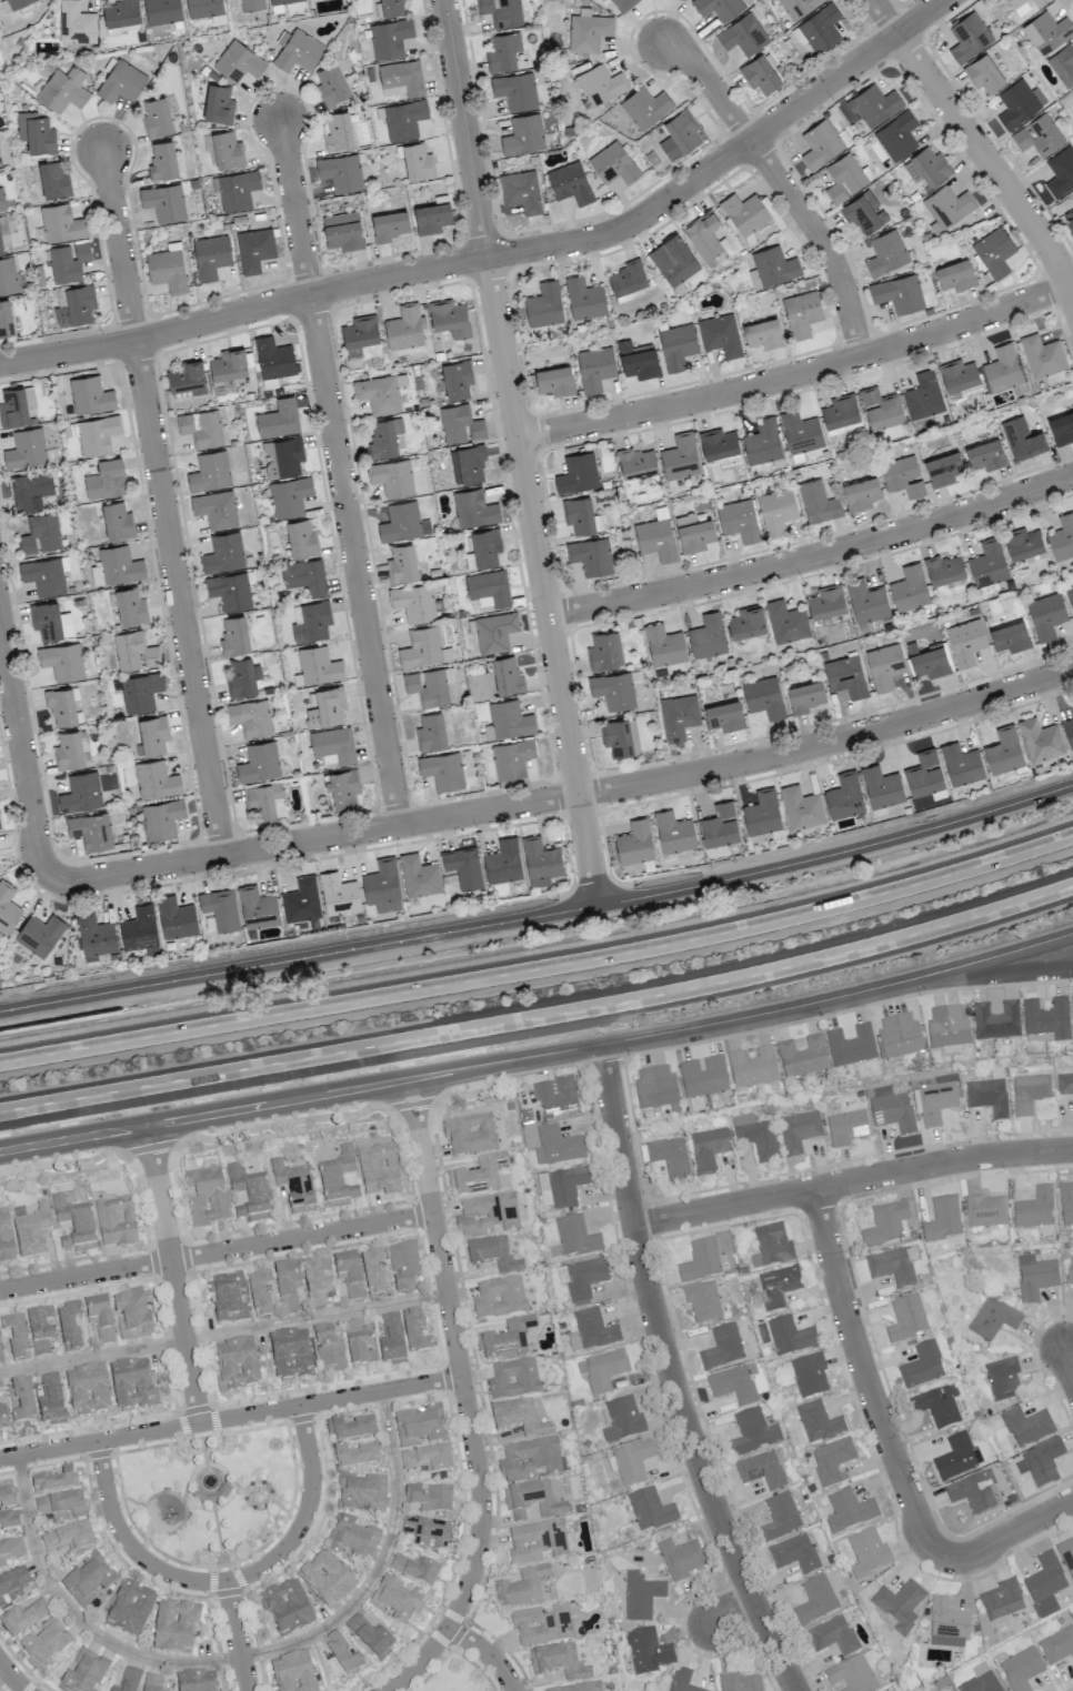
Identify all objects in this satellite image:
building: (283, 1)
building: (1039, 2)
building: (17, 3)
building: (1014, 3)
building: (251, 4)
building: (623, 4)
building: (798, 7)
building: (203, 8)
building: (392, 8)
building: (718, 8)
building: (161, 11)
building: (501, 12)
building: (120, 16)
building: (76, 23)
building: (821, 29)
building: (588, 32)
building: (1046, 32)
building: (742, 34)
building: (969, 37)
building: (390, 38)
building: (297, 51)
building: (503, 51)
building: (239, 62)
building: (1063, 64)
building: (760, 74)
building: (984, 74)
building: (401, 77)
building: (120, 81)
building: (331, 84)
building: (600, 84)
building: (63, 90)
building: (515, 90)
building: (1019, 103)
building: (218, 104)
building: (874, 104)
building: (645, 107)
building: (157, 118)
building: (403, 120)
building: (338, 131)
building: (34, 132)
building: (523, 134)
building: (679, 134)
building: (896, 135)
building: (1039, 135)
building: (820, 144)
road: (979, 147)
building: (224, 149)
building: (162, 160)
building: (415, 161)
building: (613, 163)
building: (926, 167)
building: (340, 172)
building: (1061, 172)
building: (845, 178)
building: (52, 180)
building: (570, 183)
road: (783, 187)
building: (237, 190)
building: (521, 191)
building: (1, 200)
building: (163, 202)
building: (947, 205)
building: (863, 212)
building: (744, 213)
building: (431, 218)
building: (59, 224)
building: (1070, 224)
building: (390, 225)
building: (342, 231)
building: (704, 236)
building: (0, 248)
building: (254, 249)
building: (993, 252)
building: (885, 253)
road: (503, 254)
building: (210, 256)
building: (673, 260)
building: (68, 261)
building: (774, 266)
building: (167, 270)
building: (955, 275)
building: (7, 276)
building: (626, 278)
building: (897, 293)
building: (584, 299)
building: (544, 304)
building: (74, 305)
building: (802, 313)
building: (4, 318)
building: (449, 318)
building: (404, 328)
building: (360, 331)
building: (763, 333)
building: (720, 335)
building: (676, 346)
building: (1042, 355)
building: (273, 358)
building: (638, 360)
building: (228, 364)
building: (594, 368)
building: (1003, 370)
road: (799, 374)
building: (187, 378)
building: (959, 378)
building: (457, 379)
building: (554, 381)
building: (380, 393)
building: (90, 395)
building: (923, 395)
building: (16, 405)
building: (881, 409)
building: (841, 414)
building: (278, 420)
building: (460, 424)
building: (201, 427)
building: (1062, 427)
building: (800, 432)
building: (97, 434)
building: (384, 437)
building: (1022, 439)
building: (762, 442)
building: (718, 443)
building: (26, 449)
road: (520, 453)
building: (985, 454)
building: (282, 456)
building: (680, 457)
building: (636, 463)
building: (470, 464)
building: (943, 469)
building: (210, 471)
road: (340, 473)
building: (576, 473)
building: (393, 476)
building: (903, 476)
building: (106, 479)
building: (30, 490)
building: (861, 493)
building: (290, 496)
building: (818, 502)
road: (162, 503)
building: (215, 509)
building: (474, 509)
building: (776, 511)
building: (581, 515)
building: (117, 521)
building: (739, 521)
building: (402, 522)
building: (693, 533)
building: (40, 534)
building: (1062, 537)
building: (655, 538)
building: (301, 540)
building: (1023, 544)
building: (483, 548)
building: (223, 553)
building: (591, 555)
road: (813, 556)
building: (401, 563)
building: (987, 564)
building: (120, 565)
building: (944, 568)
building: (96, 574)
building: (44, 575)
building: (304, 576)
building: (489, 586)
building: (909, 588)
building: (229, 591)
building: (1070, 596)
building: (866, 601)
building: (414, 602)
building: (826, 602)
building: (131, 606)
building: (1046, 615)
building: (50, 621)
building: (312, 622)
building: (746, 622)
building: (785, 622)
building: (494, 632)
building: (233, 634)
building: (708, 636)
building: (1010, 636)
building: (965, 642)
building: (664, 645)
building: (421, 647)
building: (134, 651)
building: (604, 651)
building: (61, 661)
building: (929, 661)
building: (318, 665)
building: (884, 666)
building: (505, 675)
building: (845, 676)
building: (242, 677)
building: (429, 685)
building: (479, 686)
building: (613, 690)
building: (140, 692)
building: (805, 696)
building: (763, 697)
building: (62, 706)
building: (325, 707)
building: (678, 716)
building: (724, 716)
building: (250, 717)
building: (508, 721)
building: (431, 732)
building: (1069, 732)
building: (152, 735)
building: (620, 736)
building: (1040, 739)
building: (331, 746)
road: (21, 748)
building: (68, 749)
building: (1003, 751)
building: (511, 758)
building: (259, 762)
building: (961, 764)
building: (442, 769)
building: (924, 774)
building: (156, 779)
building: (881, 786)
building: (341, 787)
building: (81, 792)
road: (565, 795)
building: (844, 796)
building: (262, 801)
building: (801, 807)
building: (761, 813)
building: (161, 818)
building: (719, 826)
building: (91, 831)
building: (673, 832)
building: (634, 843)
building: (503, 862)
building: (540, 862)
building: (463, 866)
building: (419, 876)
building: (382, 885)
building: (338, 894)
building: (301, 900)
building: (7, 907)
building: (257, 907)
building: (220, 908)
road: (540, 916)
building: (176, 917)
building: (140, 930)
road: (1071, 933)
building: (39, 935)
building: (94, 937)
road: (541, 969)
building: (1072, 1010)
road: (540, 1015)
road: (742, 1016)
building: (1046, 1019)
building: (996, 1021)
building: (946, 1027)
building: (899, 1036)
building: (850, 1046)
building: (802, 1057)
road: (602, 1058)
road: (543, 1067)
building: (752, 1067)
building: (702, 1076)
building: (1064, 1085)
building: (656, 1089)
building: (1029, 1093)
building: (555, 1097)
building: (987, 1097)
building: (935, 1101)
building: (892, 1113)
road: (203, 1114)
road: (263, 1126)
building: (846, 1128)
park: (258, 1130)
building: (799, 1131)
building: (470, 1135)
building: (756, 1137)
building: (556, 1146)
building: (708, 1149)
building: (669, 1158)
building: (378, 1169)
building: (480, 1177)
building: (337, 1178)
road: (852, 1180)
building: (294, 1185)
building: (561, 1187)
building: (249, 1192)
building: (205, 1196)
building: (1066, 1202)
building: (1034, 1209)
building: (984, 1210)
building: (485, 1216)
building: (942, 1219)
building: (114, 1221)
building: (74, 1224)
building: (885, 1224)
building: (31, 1230)
building: (575, 1236)
building: (4, 1237)
building: (773, 1245)
road: (215, 1251)
building: (492, 1255)
building: (699, 1260)
building: (403, 1266)
building: (891, 1267)
building: (372, 1271)
building: (1070, 1271)
road: (172, 1272)
building: (348, 1274)
building: (584, 1277)
building: (1034, 1277)
building: (317, 1281)
building: (287, 1285)
building: (778, 1286)
building: (259, 1294)
building: (228, 1297)
building: (499, 1298)
building: (702, 1301)
building: (132, 1313)
building: (99, 1318)
building: (905, 1318)
building: (993, 1318)
building: (69, 1326)
building: (40, 1329)
building: (591, 1330)
building: (414, 1331)
road: (222, 1332)
building: (790, 1336)
building: (16, 1337)
building: (507, 1339)
building: (391, 1340)
building: (359, 1345)
building: (722, 1347)
building: (328, 1349)
building: (290, 1355)
road: (457, 1355)
building: (0, 1359)
building: (235, 1365)
building: (922, 1366)
road: (1070, 1366)
building: (602, 1370)
building: (809, 1375)
road: (670, 1376)
road: (865, 1378)
building: (513, 1379)
building: (1003, 1379)
building: (733, 1383)
building: (132, 1386)
building: (87, 1390)
building: (50, 1400)
building: (22, 1401)
building: (937, 1406)
road: (230, 1417)
building: (622, 1418)
building: (2, 1419)
building: (517, 1420)
building: (818, 1422)
building: (1026, 1426)
building: (420, 1427)
building: (351, 1428)
building: (752, 1432)
road: (202, 1453)
building: (355, 1456)
building: (954, 1457)
building: (427, 1459)
building: (528, 1459)
building: (831, 1459)
building: (632, 1461)
building: (1043, 1461)
building: (760, 1469)
road: (213, 1470)
fountain: (208, 1478)
building: (53, 1481)
road: (233, 1482)
road: (257, 1482)
road: (185, 1488)
building: (973, 1491)
park: (209, 1492)
building: (360, 1492)
building: (7, 1497)
building: (429, 1498)
road: (132, 1501)
building: (532, 1501)
building: (61, 1507)
building: (650, 1509)
road: (287, 1510)
building: (848, 1510)
road: (274, 1511)
building: (779, 1517)
building: (9, 1520)
road: (215, 1529)
road: (169, 1532)
building: (427, 1532)
road: (1007, 1533)
building: (68, 1538)
building: (351, 1538)
building: (536, 1542)
building: (10, 1549)
building: (868, 1552)
building: (794, 1553)
building: (1066, 1556)
building: (681, 1558)
road: (379, 1562)
building: (415, 1570)
road: (237, 1574)
road: (210, 1578)
building: (1044, 1578)
building: (325, 1579)
building: (88, 1580)
road: (224, 1580)
building: (12, 1586)
building: (521, 1589)
building: (641, 1596)
building: (1001, 1599)
building: (814, 1600)
building: (395, 1602)
building: (899, 1604)
building: (285, 1608)
building: (130, 1609)
road: (733, 1614)
building: (22, 1618)
road: (73, 1618)
building: (946, 1624)
building: (174, 1625)
building: (541, 1625)
road: (234, 1635)
building: (831, 1635)
building: (370, 1637)
building: (44, 1644)
building: (1057, 1645)
road: (452, 1650)
building: (646, 1651)
building: (341, 1652)
road: (484, 1652)
road: (419, 1662)
building: (558, 1662)
building: (1021, 1669)
building: (292, 1672)
building: (83, 1673)
building: (852, 1674)
road: (11, 1677)
park: (454, 1677)
building: (128, 1680)
building: (195, 1681)
building: (682, 1681)
building: (151, 1682)
building: (740, 1682)
building: (981, 1683)
building: (579, 1688)

